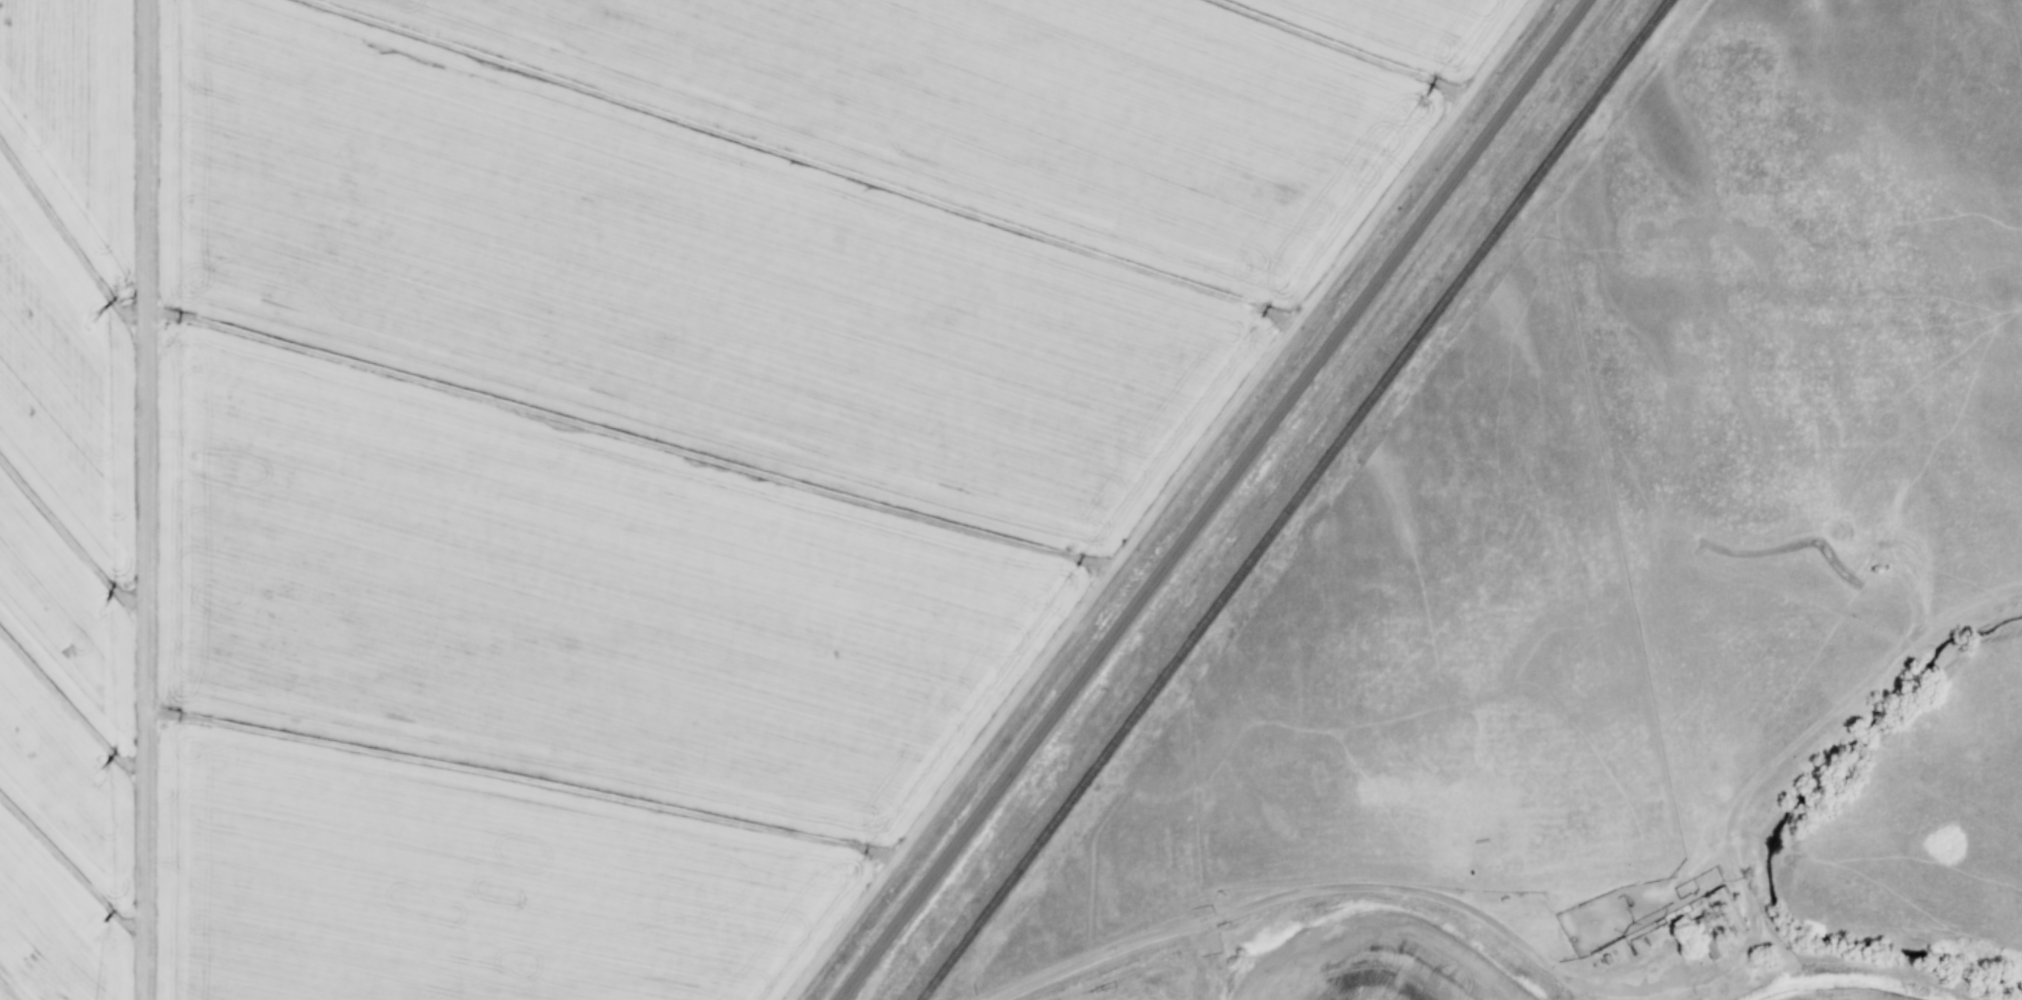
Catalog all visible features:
railway: (1295, 499)
road: (146, 500)
road: (1217, 500)
building: (1728, 910)
building: (1705, 939)
road: (1572, 977)

